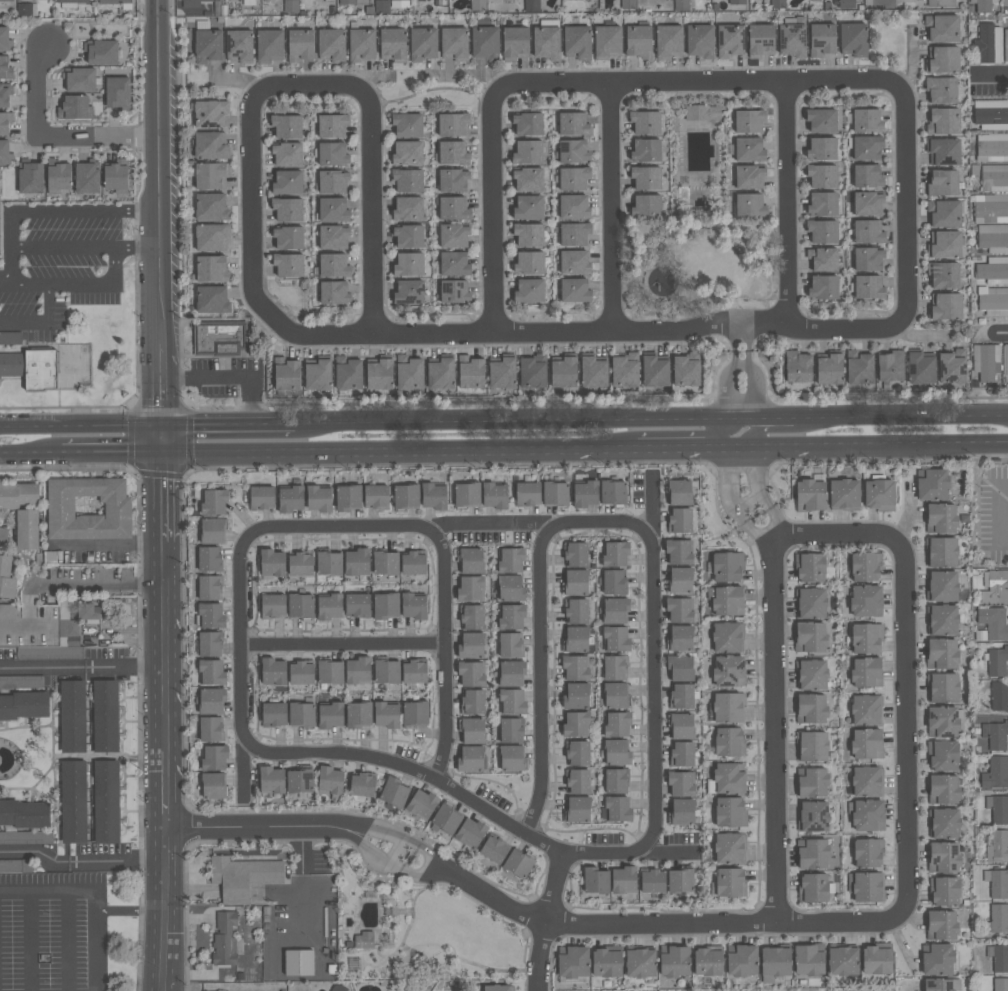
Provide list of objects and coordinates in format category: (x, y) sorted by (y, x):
building: (6, 0)
building: (329, 0)
building: (815, 0)
building: (72, 1)
building: (114, 2)
building: (354, 2)
building: (588, 2)
building: (737, 2)
building: (1004, 2)
building: (193, 3)
road: (884, 3)
building: (941, 3)
building: (628, 4)
building: (778, 4)
building: (847, 4)
building: (532, 5)
building: (681, 5)
building: (983, 5)
building: (291, 6)
building: (382, 6)
building: (24, 9)
building: (942, 28)
park: (97, 30)
building: (5, 39)
building: (822, 39)
building: (853, 39)
building: (700, 40)
building: (730, 40)
building: (761, 40)
building: (792, 40)
building: (576, 41)
building: (639, 41)
building: (669, 41)
building: (1006, 41)
building: (485, 42)
building: (546, 42)
building: (608, 42)
building: (454, 43)
building: (331, 44)
building: (362, 44)
building: (393, 44)
building: (423, 44)
building: (988, 44)
building: (270, 45)
building: (300, 45)
building: (208, 46)
building: (240, 46)
building: (102, 52)
building: (943, 59)
road: (911, 60)
building: (5, 68)
road: (995, 75)
building: (80, 80)
road: (654, 85)
road: (432, 89)
building: (942, 90)
building: (118, 92)
road: (899, 93)
building: (5, 94)
road: (698, 94)
road: (786, 95)
road: (845, 96)
road: (611, 97)
road: (552, 98)
road: (496, 99)
road: (367, 101)
road: (252, 103)
road: (310, 105)
building: (75, 107)
building: (702, 112)
building: (210, 113)
building: (749, 120)
building: (821, 120)
building: (867, 120)
building: (943, 120)
building: (5, 122)
building: (645, 122)
building: (407, 124)
building: (453, 124)
building: (528, 124)
building: (573, 124)
building: (287, 125)
building: (332, 125)
road: (51, 137)
building: (211, 145)
building: (867, 147)
building: (992, 147)
building: (822, 148)
building: (749, 149)
building: (646, 150)
building: (573, 151)
building: (944, 151)
building: (5, 152)
building: (408, 152)
building: (528, 152)
building: (453, 153)
building: (287, 154)
building: (333, 154)
building: (211, 175)
building: (822, 175)
building: (867, 175)
building: (116, 176)
building: (59, 177)
building: (87, 177)
building: (646, 177)
building: (750, 177)
building: (994, 177)
building: (31, 178)
building: (574, 178)
building: (528, 179)
building: (408, 180)
building: (453, 180)
building: (333, 181)
building: (288, 182)
building: (943, 182)
road: (372, 202)
building: (868, 203)
building: (822, 204)
building: (750, 205)
building: (211, 206)
building: (574, 206)
building: (646, 206)
building: (529, 207)
building: (408, 208)
building: (454, 208)
road: (609, 208)
road: (783, 208)
building: (990, 208)
building: (288, 209)
building: (333, 209)
road: (67, 210)
building: (944, 213)
building: (822, 231)
building: (868, 231)
building: (574, 233)
building: (529, 234)
building: (454, 235)
building: (212, 236)
building: (409, 236)
building: (288, 237)
building: (334, 237)
road: (725, 238)
building: (993, 238)
road: (631, 243)
road: (63, 245)
road: (135, 245)
building: (945, 245)
road: (770, 248)
building: (823, 258)
building: (868, 259)
building: (529, 262)
building: (574, 262)
building: (454, 263)
building: (289, 264)
building: (409, 264)
building: (334, 265)
road: (9, 266)
building: (212, 268)
park: (696, 269)
building: (993, 269)
road: (252, 273)
building: (944, 274)
road: (98, 283)
building: (823, 287)
building: (868, 287)
building: (530, 290)
building: (575, 290)
building: (409, 291)
building: (455, 291)
building: (334, 292)
road: (718, 297)
building: (213, 298)
building: (993, 300)
road: (46, 301)
building: (946, 306)
road: (626, 307)
road: (791, 309)
road: (848, 309)
road: (903, 311)
road: (433, 312)
road: (554, 313)
road: (322, 314)
road: (609, 316)
road: (274, 317)
road: (495, 317)
road: (372, 318)
road: (1001, 333)
road: (924, 334)
building: (223, 338)
road: (741, 341)
building: (1005, 359)
building: (985, 360)
building: (28, 363)
building: (798, 366)
building: (890, 366)
building: (952, 367)
building: (859, 368)
building: (920, 368)
building: (687, 369)
building: (829, 369)
building: (625, 370)
building: (533, 371)
building: (655, 371)
building: (410, 372)
building: (471, 372)
building: (564, 372)
building: (594, 372)
building: (348, 373)
building: (502, 373)
building: (286, 374)
building: (380, 374)
building: (441, 374)
building: (318, 375)
road: (226, 376)
road: (740, 385)
road: (76, 407)
road: (25, 408)
road: (921, 417)
road: (787, 419)
road: (517, 423)
road: (226, 426)
road: (779, 427)
road: (79, 428)
traffic signals: (159, 428)
road: (661, 434)
road: (904, 445)
road: (691, 448)
road: (370, 453)
road: (110, 455)
traffic signals: (159, 455)
road: (31, 456)
road: (756, 479)
building: (933, 485)
road: (730, 486)
building: (613, 492)
building: (679, 492)
building: (528, 493)
building: (585, 493)
building: (555, 494)
building: (844, 494)
building: (879, 494)
building: (18, 495)
road: (159, 495)
building: (467, 495)
building: (495, 495)
building: (811, 495)
building: (376, 496)
building: (406, 496)
building: (434, 496)
building: (262, 497)
building: (348, 497)
building: (291, 498)
building: (319, 498)
road: (749, 501)
building: (214, 502)
building: (89, 508)
road: (1005, 513)
building: (941, 518)
building: (680, 520)
road: (774, 522)
road: (447, 524)
building: (28, 529)
building: (213, 530)
road: (766, 530)
road: (837, 532)
road: (734, 533)
road: (759, 534)
road: (786, 535)
road: (312, 538)
road: (107, 545)
road: (798, 545)
road: (767, 548)
building: (679, 552)
building: (941, 552)
building: (576, 554)
building: (616, 554)
building: (210, 558)
building: (471, 560)
building: (511, 560)
building: (272, 562)
building: (357, 562)
building: (386, 562)
building: (330, 563)
building: (413, 563)
building: (301, 564)
building: (864, 566)
building: (728, 567)
building: (810, 567)
building: (6, 570)
road: (638, 573)
building: (680, 580)
building: (576, 582)
building: (614, 582)
road: (59, 585)
building: (942, 586)
building: (210, 587)
building: (995, 587)
building: (471, 588)
building: (511, 588)
building: (726, 600)
building: (866, 600)
building: (810, 603)
building: (300, 605)
building: (357, 605)
building: (273, 606)
building: (386, 606)
building: (414, 606)
building: (329, 607)
building: (679, 609)
building: (615, 610)
building: (576, 611)
building: (90, 613)
building: (211, 615)
building: (473, 617)
building: (512, 617)
building: (942, 620)
building: (992, 624)
building: (68, 626)
road: (370, 628)
road: (43, 630)
building: (728, 637)
building: (811, 637)
building: (616, 638)
building: (681, 638)
building: (867, 638)
building: (576, 639)
road: (429, 641)
building: (210, 643)
road: (251, 643)
road: (343, 643)
building: (510, 644)
building: (471, 645)
building: (50, 652)
building: (942, 653)
road: (445, 654)
road: (653, 656)
building: (997, 661)
road: (67, 667)
road: (149, 667)
building: (615, 667)
building: (680, 667)
building: (575, 668)
building: (358, 670)
road: (241, 671)
building: (274, 671)
building: (330, 671)
building: (387, 671)
building: (729, 671)
building: (212, 672)
building: (414, 672)
building: (866, 672)
building: (301, 673)
building: (512, 673)
building: (472, 674)
building: (812, 674)
building: (21, 681)
road: (540, 681)
building: (943, 687)
building: (615, 695)
building: (682, 695)
building: (999, 695)
building: (576, 696)
building: (212, 701)
building: (512, 701)
building: (473, 702)
building: (24, 704)
road: (52, 706)
road: (433, 706)
building: (729, 707)
building: (812, 708)
building: (866, 710)
building: (416, 713)
building: (274, 714)
building: (301, 714)
building: (359, 714)
building: (331, 715)
building: (386, 715)
building: (943, 721)
building: (576, 724)
building: (617, 724)
building: (682, 726)
road: (908, 727)
building: (211, 728)
road: (773, 729)
building: (473, 730)
building: (511, 730)
building: (996, 734)
road: (303, 738)
building: (729, 741)
building: (867, 743)
building: (812, 746)
road: (52, 749)
building: (617, 752)
building: (578, 753)
building: (682, 753)
building: (943, 755)
road: (96, 756)
building: (214, 758)
building: (471, 758)
building: (511, 758)
road: (16, 759)
building: (90, 761)
park: (34, 763)
road: (438, 766)
building: (996, 773)
building: (728, 778)
building: (272, 780)
building: (299, 780)
building: (330, 780)
road: (493, 781)
building: (578, 781)
building: (616, 781)
building: (867, 781)
building: (812, 782)
building: (362, 784)
building: (681, 784)
building: (213, 785)
road: (452, 788)
building: (943, 789)
building: (395, 792)
building: (422, 804)
building: (617, 808)
building: (998, 808)
building: (578, 809)
road: (54, 811)
building: (683, 811)
building: (730, 812)
building: (868, 815)
building: (25, 816)
building: (813, 816)
road: (392, 818)
building: (447, 819)
road: (530, 819)
building: (944, 823)
road: (252, 826)
road: (380, 830)
building: (471, 832)
building: (26, 837)
road: (542, 841)
building: (998, 846)
building: (730, 848)
road: (918, 848)
building: (494, 849)
road: (369, 850)
road: (397, 851)
road: (576, 852)
road: (662, 852)
building: (868, 852)
building: (813, 854)
road: (757, 855)
building: (944, 857)
road: (152, 860)
road: (437, 860)
road: (66, 862)
building: (518, 863)
building: (16, 864)
road: (368, 871)
road: (428, 872)
building: (242, 876)
road: (300, 880)
building: (596, 880)
building: (624, 880)
building: (680, 880)
building: (653, 881)
building: (730, 882)
building: (998, 882)
building: (868, 886)
building: (813, 887)
road: (410, 889)
road: (49, 891)
building: (945, 891)
road: (194, 893)
road: (369, 897)
road: (99, 900)
road: (550, 900)
road: (414, 902)
road: (775, 906)
road: (134, 908)
road: (529, 915)
building: (999, 918)
road: (758, 919)
road: (793, 920)
road: (343, 921)
road: (378, 921)
road: (547, 921)
road: (562, 921)
road: (670, 921)
building: (941, 924)
park: (421, 930)
parking lot: (53, 931)
road: (385, 936)
road: (541, 936)
building: (225, 937)
building: (366, 939)
road: (31, 941)
road: (68, 941)
road: (378, 942)
road: (401, 946)
road: (378, 947)
road: (525, 949)
road: (99, 950)
road: (408, 951)
road: (396, 954)
road: (380, 955)
building: (1000, 957)
building: (809, 959)
building: (877, 959)
building: (843, 960)
building: (938, 960)
building: (743, 961)
building: (299, 962)
building: (574, 962)
building: (607, 962)
building: (675, 962)
building: (708, 962)
building: (640, 963)
building: (775, 963)
road: (526, 981)
building: (942, 984)
building: (1000, 984)
building: (498, 987)
building: (338, 988)
building: (225, 990)

